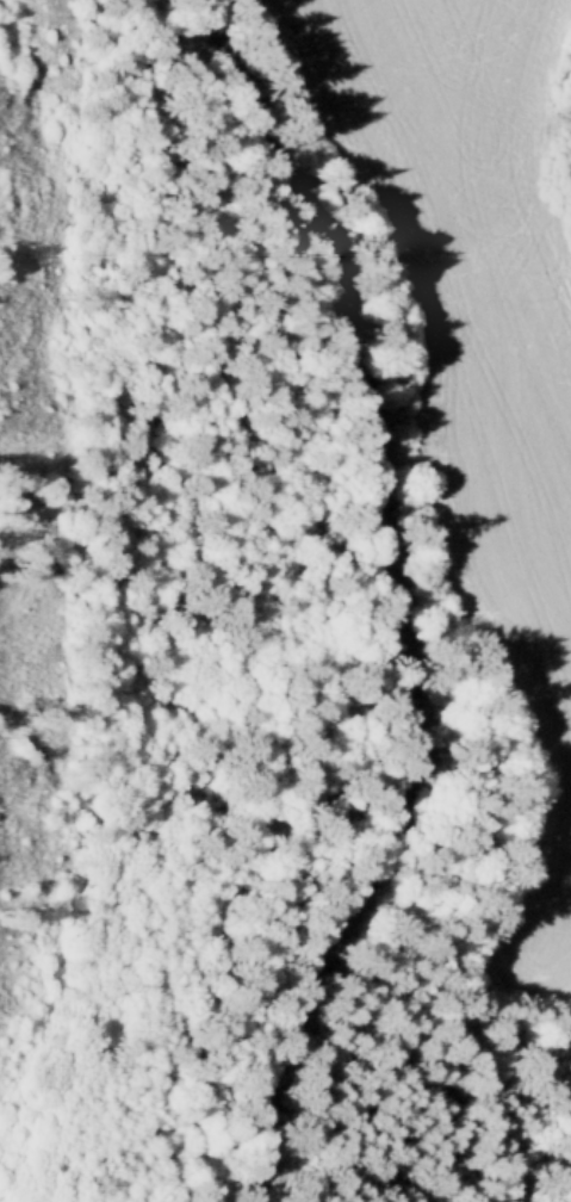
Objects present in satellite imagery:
crop: (473, 361)
road: (405, 600)

